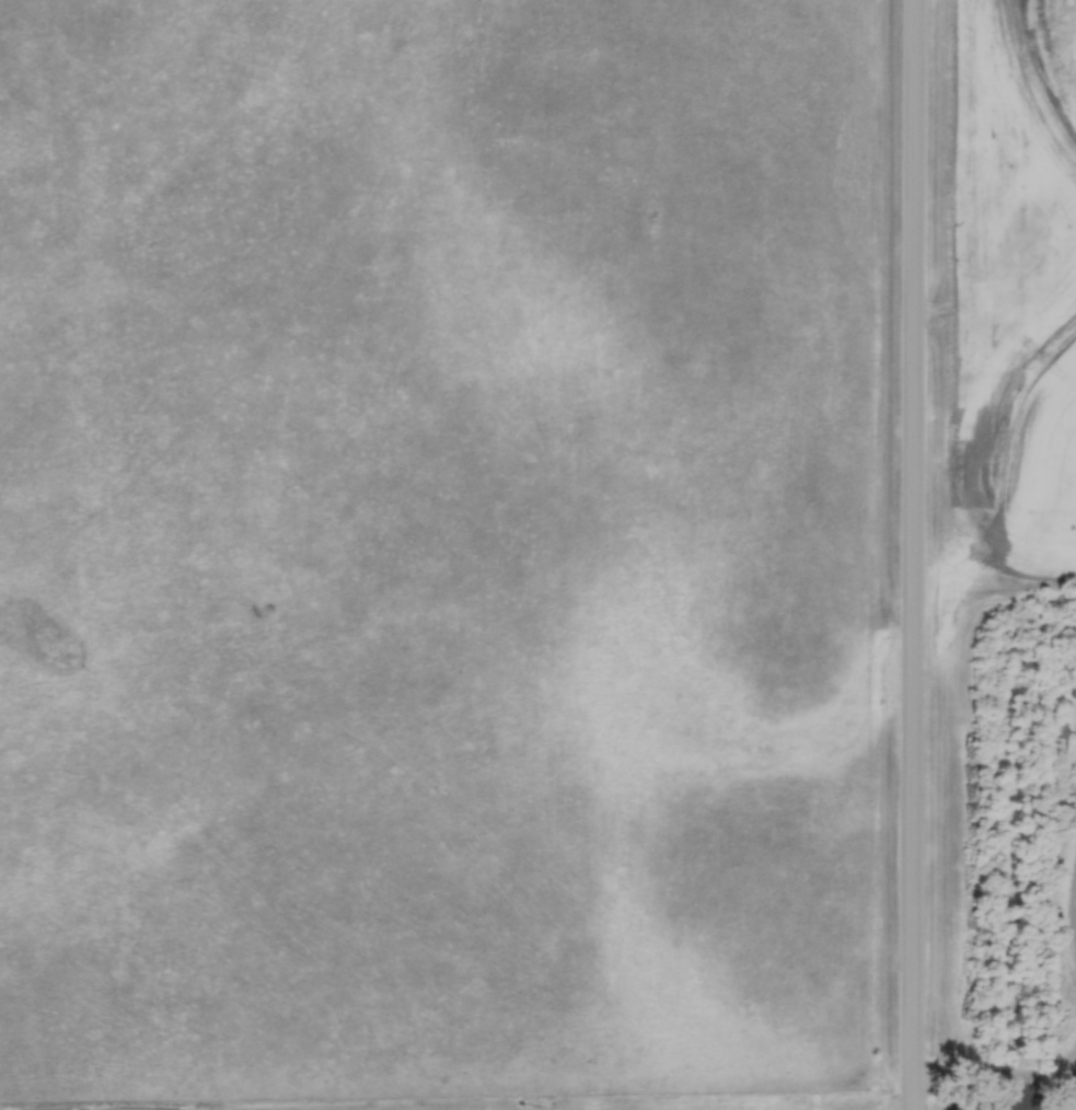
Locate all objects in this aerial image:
road: (913, 555)

